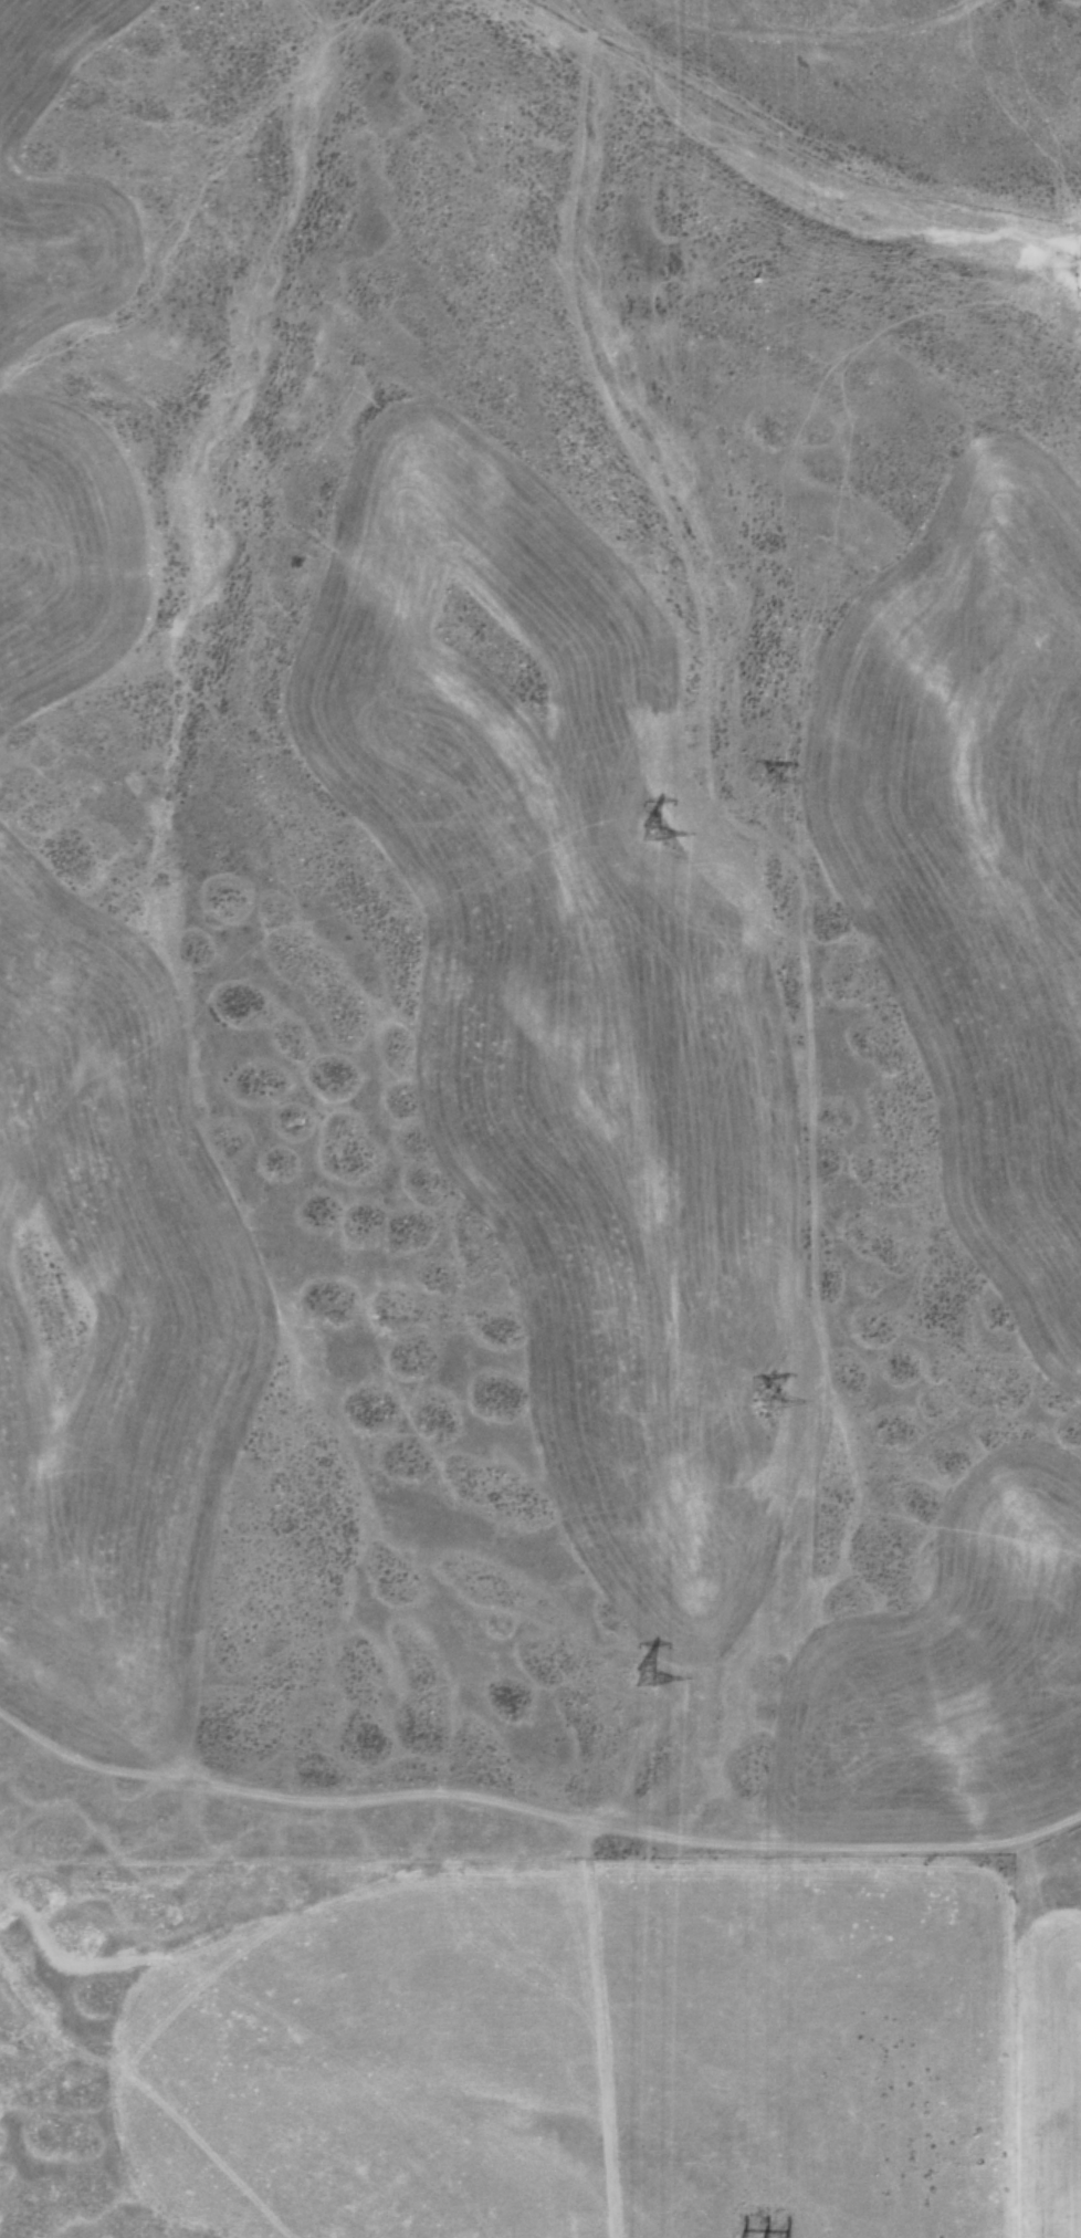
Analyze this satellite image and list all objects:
power tower: (770, 782)
power tower: (640, 849)
power tower: (787, 1411)
power tower: (633, 1681)

